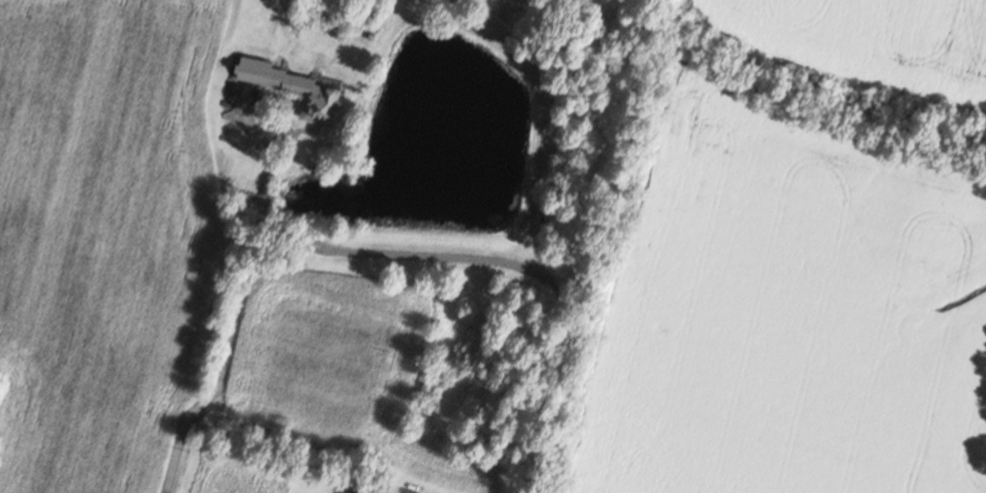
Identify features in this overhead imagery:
building: (303, 87)
road: (382, 295)

